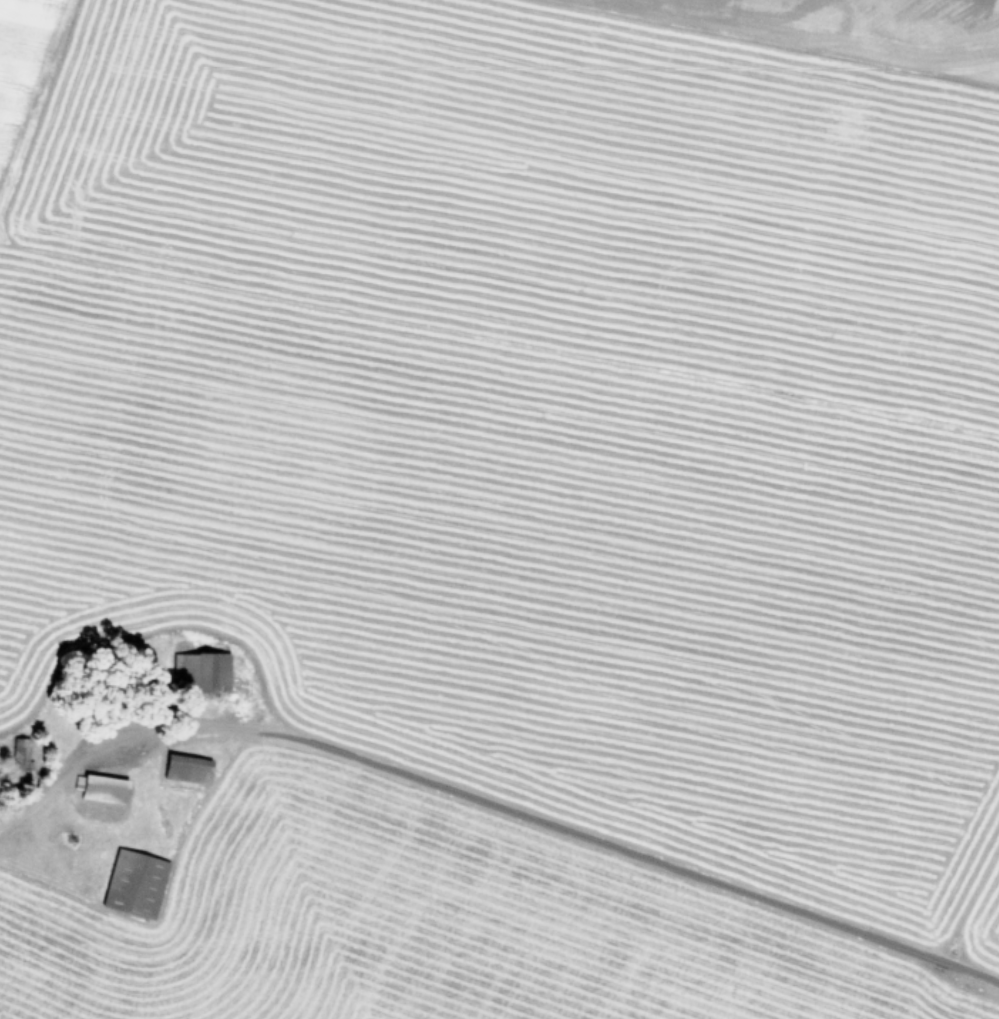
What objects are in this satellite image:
crop: (499, 509)
building: (204, 673)
building: (21, 752)
road: (93, 753)
building: (186, 773)
building: (104, 789)
road: (605, 845)
building: (134, 884)

